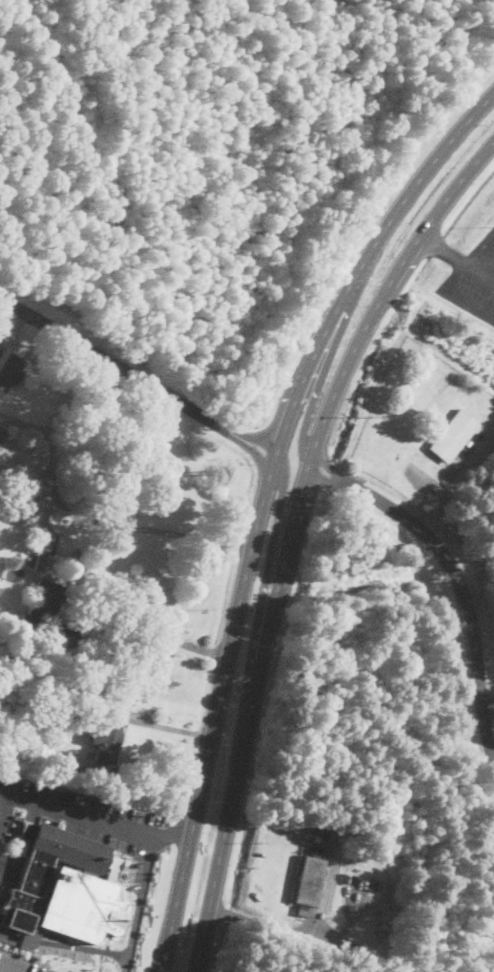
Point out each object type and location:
road: (481, 248)
road: (444, 250)
road: (481, 271)
road: (383, 296)
road: (453, 296)
building: (0, 330)
building: (9, 368)
road: (137, 376)
road: (318, 389)
building: (453, 434)
building: (0, 436)
building: (32, 495)
road: (262, 505)
building: (107, 509)
road: (75, 514)
road: (278, 517)
building: (44, 550)
road: (451, 570)
building: (41, 603)
road: (153, 628)
road: (488, 705)
road: (250, 719)
building: (107, 735)
road: (5, 812)
road: (77, 814)
road: (174, 832)
building: (309, 877)
building: (65, 884)
road: (140, 903)
road: (267, 924)
road: (64, 943)
road: (0, 971)

